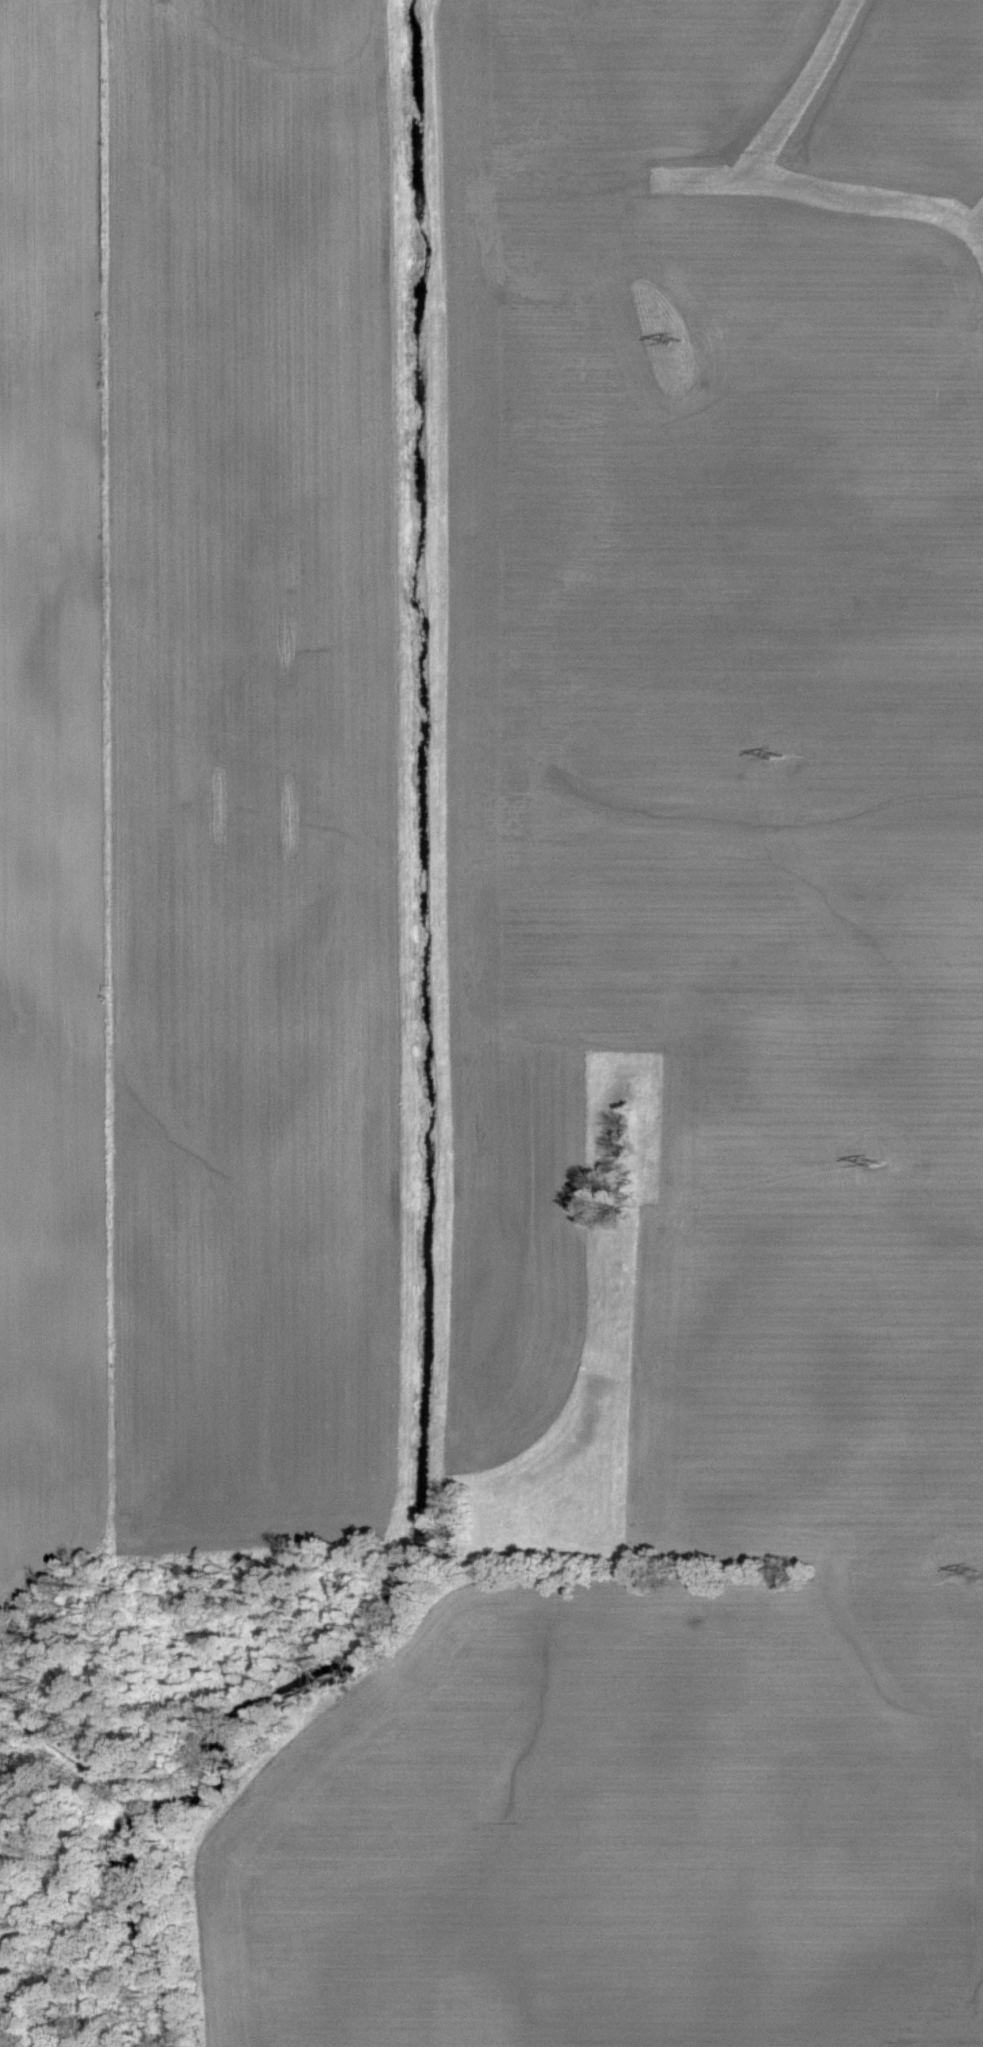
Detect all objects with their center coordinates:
power tower: (675, 339)
power tower: (775, 757)
power tower: (875, 1161)
power tower: (971, 1573)

